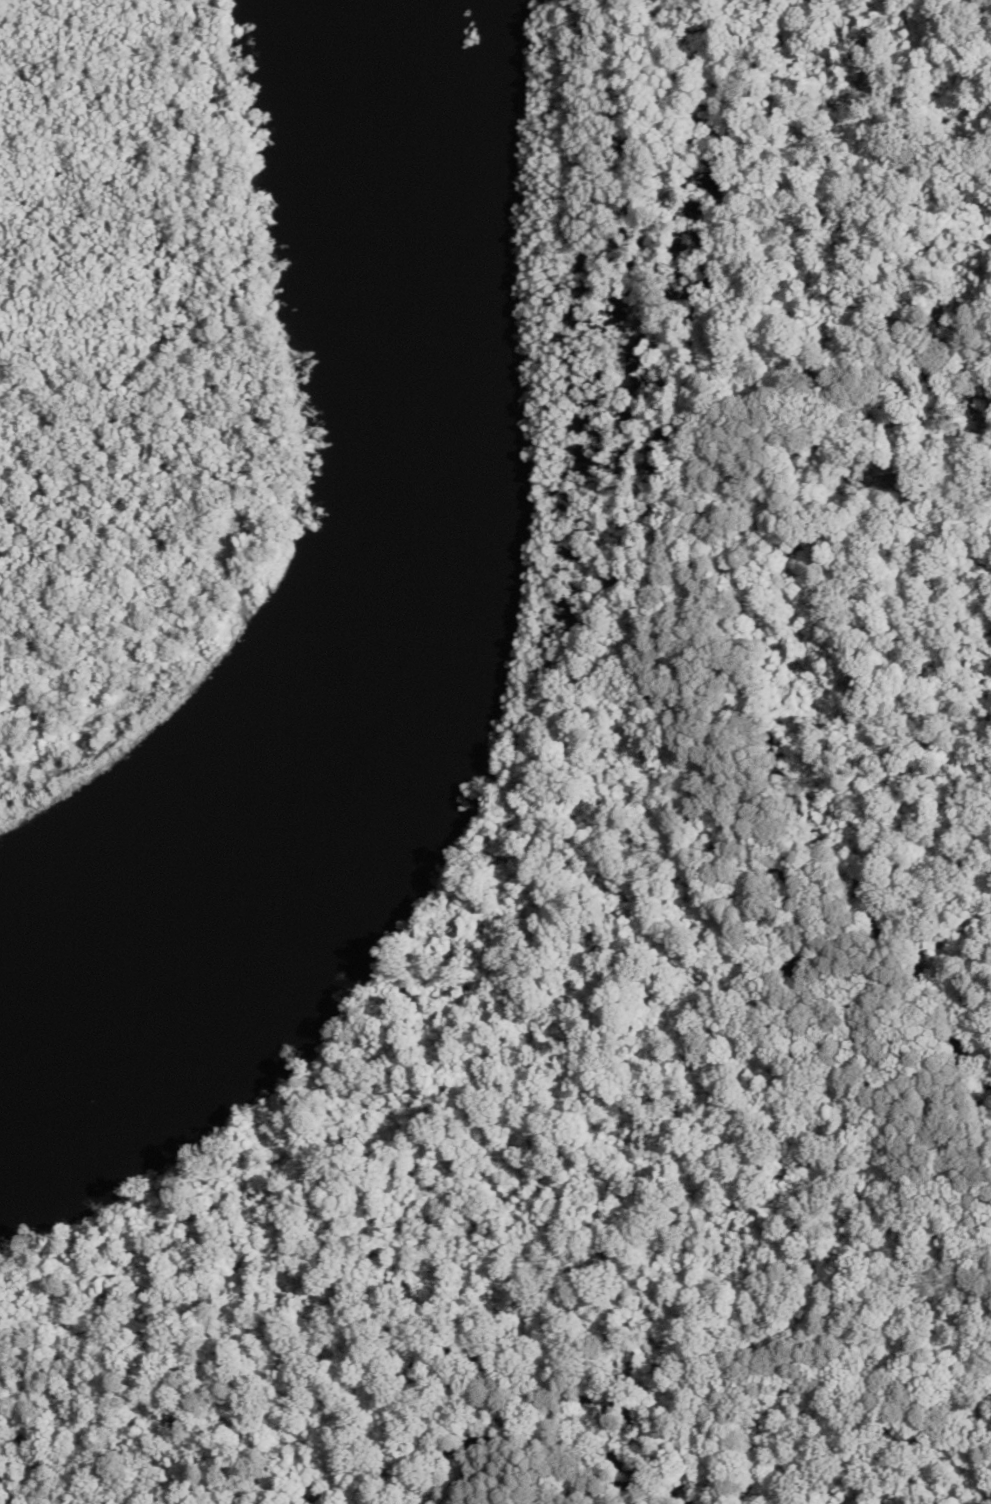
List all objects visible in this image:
river: (392, 596)

